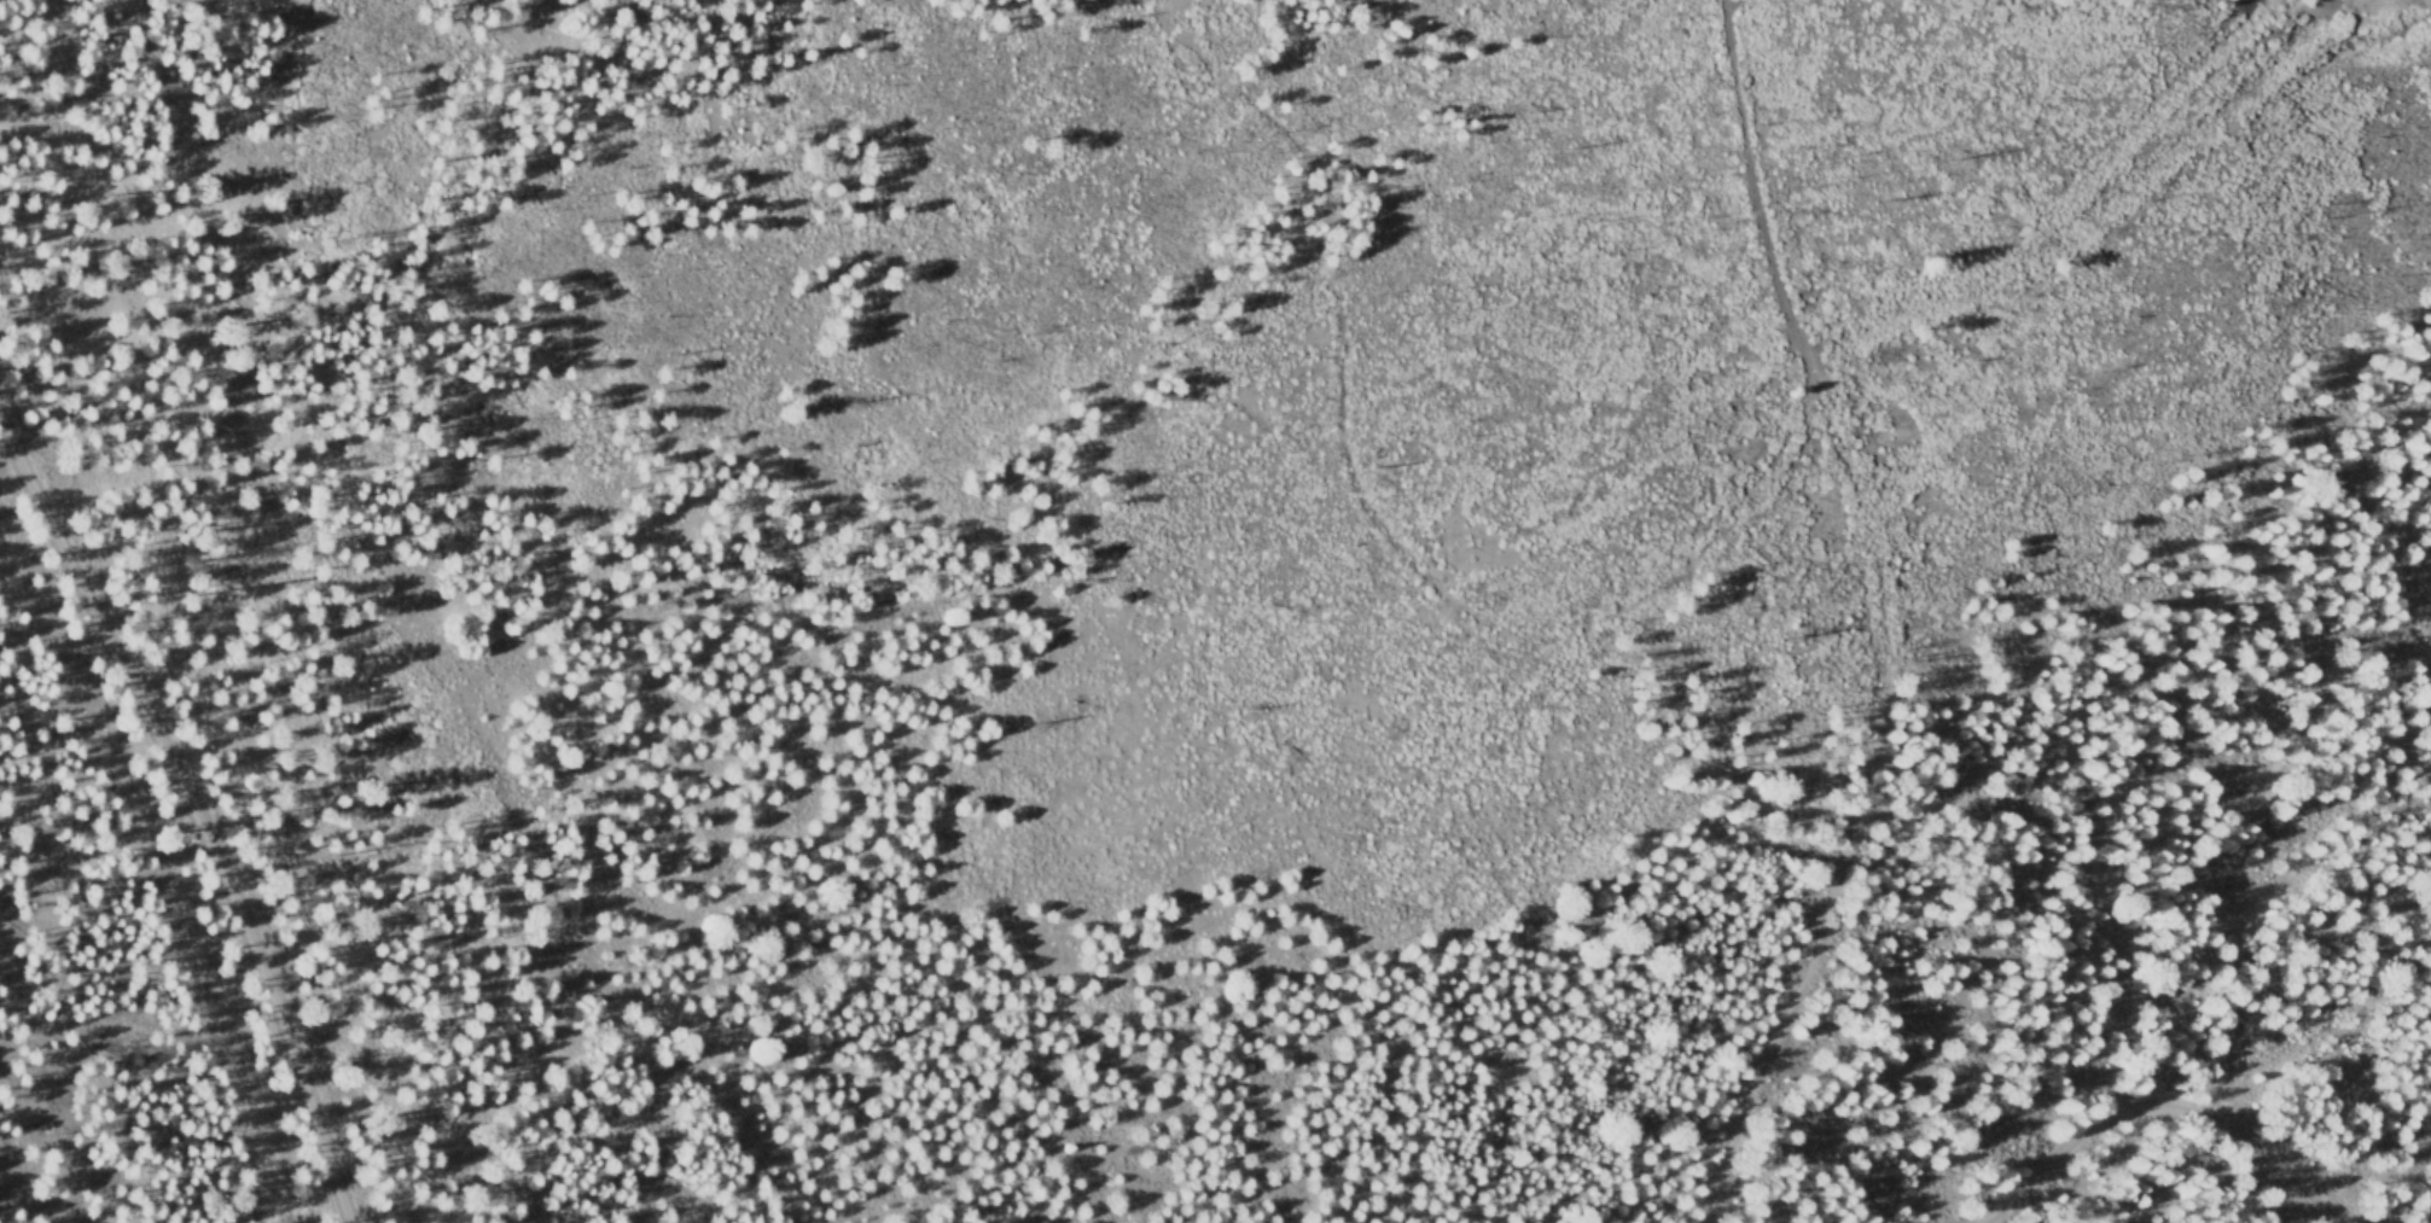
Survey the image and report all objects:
road: (190, 811)
road: (2157, 1110)

